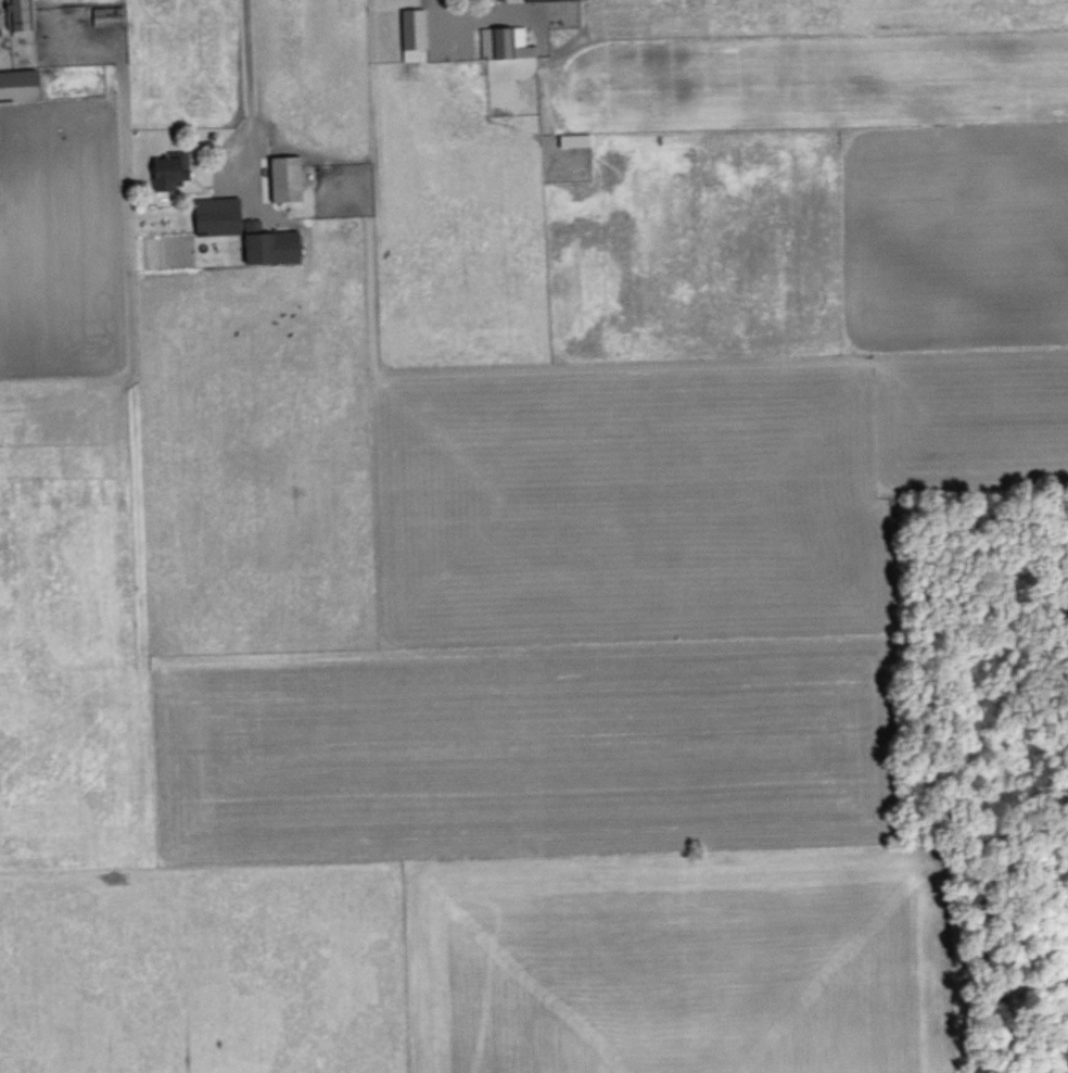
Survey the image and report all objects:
building: (525, 0)
building: (17, 14)
building: (105, 15)
building: (411, 34)
building: (503, 41)
road: (245, 67)
building: (17, 85)
building: (572, 139)
building: (165, 173)
building: (281, 179)
building: (244, 231)

